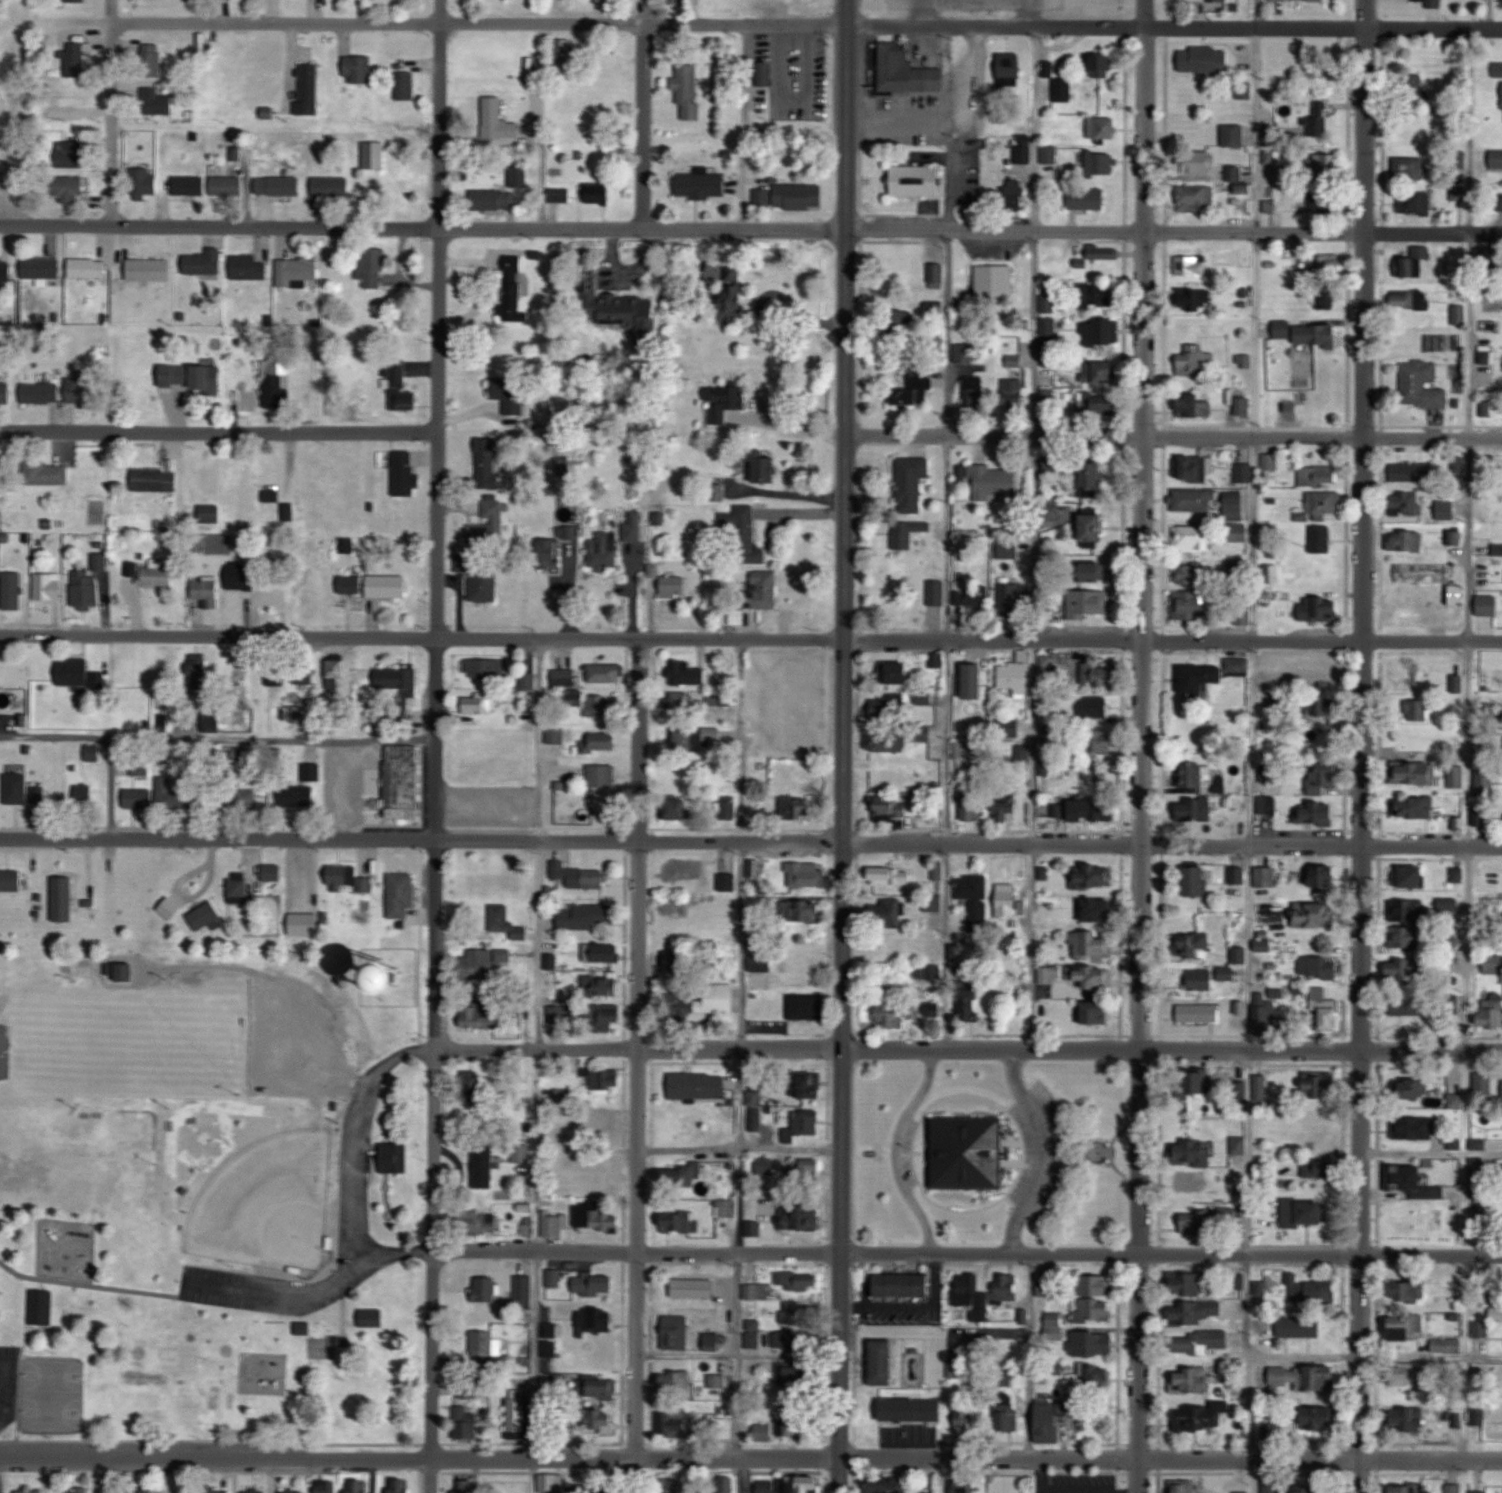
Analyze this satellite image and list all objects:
building: (1218, 0)
building: (1297, 0)
building: (75, 1)
building: (804, 2)
building: (1432, 3)
road: (1434, 26)
road: (702, 29)
building: (563, 53)
building: (73, 58)
building: (1204, 58)
building: (150, 60)
building: (1101, 65)
building: (356, 69)
building: (1009, 70)
building: (906, 71)
building: (764, 74)
building: (404, 85)
building: (1414, 87)
building: (307, 88)
building: (1063, 89)
building: (1244, 91)
building: (687, 93)
building: (156, 102)
road: (107, 112)
road: (635, 117)
building: (1317, 117)
building: (497, 122)
building: (1102, 127)
road: (744, 130)
building: (1233, 135)
building: (1412, 136)
building: (0, 151)
building: (1049, 154)
building: (70, 155)
building: (373, 155)
building: (1274, 157)
building: (1496, 159)
building: (1199, 161)
building: (1100, 162)
building: (1325, 165)
building: (1411, 167)
building: (518, 176)
building: (916, 180)
building: (144, 182)
building: (701, 184)
building: (189, 185)
building: (277, 185)
building: (330, 186)
building: (226, 187)
building: (68, 189)
building: (597, 192)
building: (560, 193)
building: (792, 196)
building: (1088, 197)
building: (1196, 198)
building: (494, 199)
building: (1015, 199)
building: (1326, 199)
building: (1501, 200)
building: (1413, 202)
building: (1245, 205)
road: (1034, 217)
road: (1433, 232)
road: (682, 234)
building: (1097, 254)
building: (206, 261)
building: (1418, 261)
building: (1323, 264)
building: (1191, 265)
building: (247, 267)
building: (371, 267)
building: (42, 268)
building: (87, 268)
building: (148, 270)
building: (296, 272)
building: (936, 273)
building: (993, 283)
building: (513, 288)
building: (730, 292)
building: (1095, 295)
building: (1325, 297)
building: (1193, 298)
building: (1407, 299)
building: (620, 310)
building: (1458, 313)
building: (936, 318)
building: (1282, 329)
road: (946, 331)
building: (1099, 331)
building: (1316, 333)
building: (964, 352)
building: (1195, 360)
building: (190, 377)
building: (276, 379)
building: (398, 385)
building: (1421, 385)
building: (915, 389)
building: (81, 390)
building: (1104, 390)
building: (508, 392)
building: (40, 393)
building: (1013, 393)
building: (4, 394)
building: (974, 394)
building: (246, 401)
building: (725, 402)
building: (1243, 405)
building: (1194, 406)
road: (219, 429)
road: (995, 434)
road: (1323, 438)
building: (487, 462)
building: (764, 465)
building: (1195, 468)
building: (1406, 471)
building: (1244, 472)
building: (45, 473)
building: (404, 474)
building: (1318, 475)
building: (1093, 478)
building: (150, 479)
building: (995, 482)
building: (911, 483)
building: (270, 496)
building: (1194, 500)
building: (1404, 503)
building: (1319, 506)
building: (1236, 507)
building: (1445, 509)
building: (288, 512)
building: (210, 513)
building: (488, 525)
building: (634, 527)
building: (1093, 527)
building: (907, 533)
building: (1238, 533)
building: (743, 535)
road: (946, 536)
road: (1034, 536)
building: (1192, 537)
building: (1454, 537)
building: (1320, 539)
building: (1405, 540)
building: (1012, 549)
building: (1497, 550)
building: (603, 551)
building: (547, 552)
building: (902, 571)
building: (1090, 571)
building: (1421, 571)
building: (156, 574)
building: (1191, 574)
building: (240, 576)
building: (479, 580)
building: (349, 584)
building: (47, 586)
building: (386, 586)
building: (674, 586)
building: (764, 589)
building: (85, 590)
building: (12, 591)
building: (205, 592)
building: (934, 592)
building: (972, 598)
building: (1014, 602)
building: (1087, 603)
building: (1487, 604)
building: (1189, 605)
building: (1426, 605)
building: (1317, 609)
road: (1324, 639)
road: (573, 640)
building: (1047, 663)
building: (484, 669)
building: (686, 672)
building: (335, 673)
building: (605, 673)
building: (807, 673)
building: (898, 673)
building: (1320, 673)
building: (77, 674)
building: (197, 674)
building: (1098, 674)
building: (1211, 674)
building: (276, 675)
building: (303, 675)
building: (1403, 675)
building: (563, 677)
building: (1015, 679)
building: (398, 680)
building: (974, 681)
building: (723, 697)
building: (682, 701)
building: (590, 702)
building: (479, 703)
building: (1091, 707)
building: (889, 708)
building: (799, 709)
building: (1416, 710)
building: (211, 723)
building: (1008, 728)
building: (711, 733)
building: (555, 735)
road: (216, 738)
building: (683, 740)
road: (943, 740)
building: (601, 741)
road: (1033, 741)
building: (1100, 741)
building: (889, 742)
road: (433, 746)
road: (843, 746)
road: (1144, 746)
road: (1250, 746)
road: (1360, 746)
building: (92, 753)
building: (1022, 755)
road: (1467, 759)
building: (141, 769)
building: (1414, 773)
building: (601, 775)
building: (1197, 775)
building: (1324, 777)
building: (1456, 777)
building: (402, 781)
building: (1485, 781)
building: (15, 789)
building: (83, 795)
building: (169, 796)
building: (295, 797)
building: (138, 799)
building: (205, 802)
building: (241, 802)
building: (1267, 804)
building: (891, 805)
building: (1005, 806)
building: (972, 807)
building: (677, 808)
building: (726, 808)
building: (796, 808)
building: (1196, 809)
building: (1093, 810)
building: (1318, 813)
road: (570, 840)
road: (740, 844)
road: (1321, 845)
building: (138, 871)
building: (680, 871)
building: (271, 872)
building: (578, 875)
building: (1457, 875)
building: (805, 876)
building: (890, 876)
building: (1094, 876)
building: (1321, 876)
building: (1412, 876)
building: (1265, 877)
building: (347, 878)
building: (10, 881)
building: (484, 881)
building: (1196, 881)
building: (727, 882)
building: (236, 889)
building: (401, 894)
building: (62, 899)
building: (974, 899)
building: (1006, 903)
building: (933, 904)
building: (1098, 909)
building: (1407, 909)
building: (803, 911)
building: (887, 912)
building: (203, 915)
building: (587, 915)
building: (1313, 915)
building: (506, 922)
building: (304, 924)
building: (1405, 937)
road: (535, 944)
building: (1089, 945)
road: (943, 946)
building: (1193, 946)
road: (1030, 947)
building: (601, 952)
building: (484, 961)
building: (550, 961)
building: (677, 962)
building: (760, 962)
building: (1493, 963)
building: (1317, 968)
building: (1403, 969)
building: (803, 970)
building: (125, 973)
building: (1226, 973)
water tower: (383, 976)
building: (401, 976)
building: (898, 977)
building: (1090, 977)
building: (1200, 980)
building: (601, 986)
building: (1319, 994)
building: (698, 1001)
building: (975, 1005)
building: (1410, 1006)
building: (807, 1007)
building: (932, 1010)
building: (1491, 1010)
building: (1098, 1013)
building: (1199, 1013)
building: (1264, 1015)
building: (476, 1016)
building: (586, 1016)
building: (892, 1017)
building: (1330, 1017)
road: (537, 1047)
road: (999, 1051)
road: (1431, 1054)
road: (638, 1068)
building: (599, 1078)
building: (1211, 1081)
building: (698, 1085)
building: (810, 1085)
building: (1483, 1085)
building: (1262, 1088)
building: (1415, 1089)
building: (565, 1095)
building: (1323, 1115)
building: (605, 1117)
building: (806, 1122)
building: (1423, 1128)
building: (1238, 1145)
road: (533, 1147)
road: (739, 1148)
road: (896, 1149)
road: (1041, 1152)
building: (1191, 1152)
road: (1430, 1152)
park: (218, 1154)
building: (968, 1154)
building: (393, 1157)
road: (353, 1162)
building: (483, 1165)
building: (765, 1165)
building: (597, 1171)
building: (804, 1171)
building: (1223, 1175)
building: (679, 1177)
building: (1408, 1177)
building: (1190, 1181)
building: (1306, 1212)
building: (1414, 1214)
building: (594, 1217)
building: (800, 1217)
park: (284, 1219)
building: (1208, 1221)
building: (478, 1222)
building: (681, 1222)
building: (552, 1226)
road: (783, 1249)
road: (1319, 1254)
building: (1238, 1280)
building: (802, 1283)
building: (1185, 1284)
building: (594, 1285)
building: (1098, 1285)
building: (903, 1286)
building: (692, 1287)
building: (1005, 1288)
building: (1287, 1288)
building: (484, 1289)
building: (968, 1289)
building: (1045, 1289)
building: (1410, 1289)
building: (758, 1291)
building: (1321, 1292)
road: (286, 1298)
building: (41, 1308)
building: (1094, 1311)
building: (1193, 1312)
building: (797, 1313)
building: (371, 1318)
building: (595, 1320)
building: (1300, 1327)
building: (1406, 1327)
building: (1481, 1328)
building: (675, 1332)
building: (753, 1333)
building: (790, 1340)
building: (711, 1341)
building: (1199, 1341)
building: (1092, 1343)
building: (485, 1345)
building: (1447, 1345)
road: (1029, 1355)
road: (1375, 1356)
building: (882, 1361)
building: (792, 1376)
building: (1094, 1377)
building: (1302, 1377)
building: (676, 1379)
building: (1190, 1380)
building: (602, 1388)
building: (911, 1409)
building: (1007, 1412)
building: (517, 1414)
building: (968, 1416)
building: (1201, 1417)
building: (1319, 1418)
building: (1409, 1418)
building: (1050, 1420)
building: (603, 1421)
building: (676, 1423)
building: (466, 1426)
building: (790, 1426)
building: (764, 1432)
road: (1430, 1456)
road: (679, 1458)
road: (104, 1476)
road: (532, 1476)
road: (1040, 1476)
building: (725, 1484)
building: (788, 1485)
building: (326, 1486)
building: (357, 1486)
building: (400, 1486)
building: (1183, 1486)
building: (1272, 1486)
building: (465, 1487)
building: (886, 1487)
building: (965, 1487)
building: (1406, 1488)
building: (1454, 1488)
building: (75, 1490)
building: (141, 1490)
building: (30, 1491)
building: (1310, 1491)
building: (212, 1492)
building: (254, 1492)
building: (929, 1492)
building: (1241, 1492)
building: (1479, 1492)

